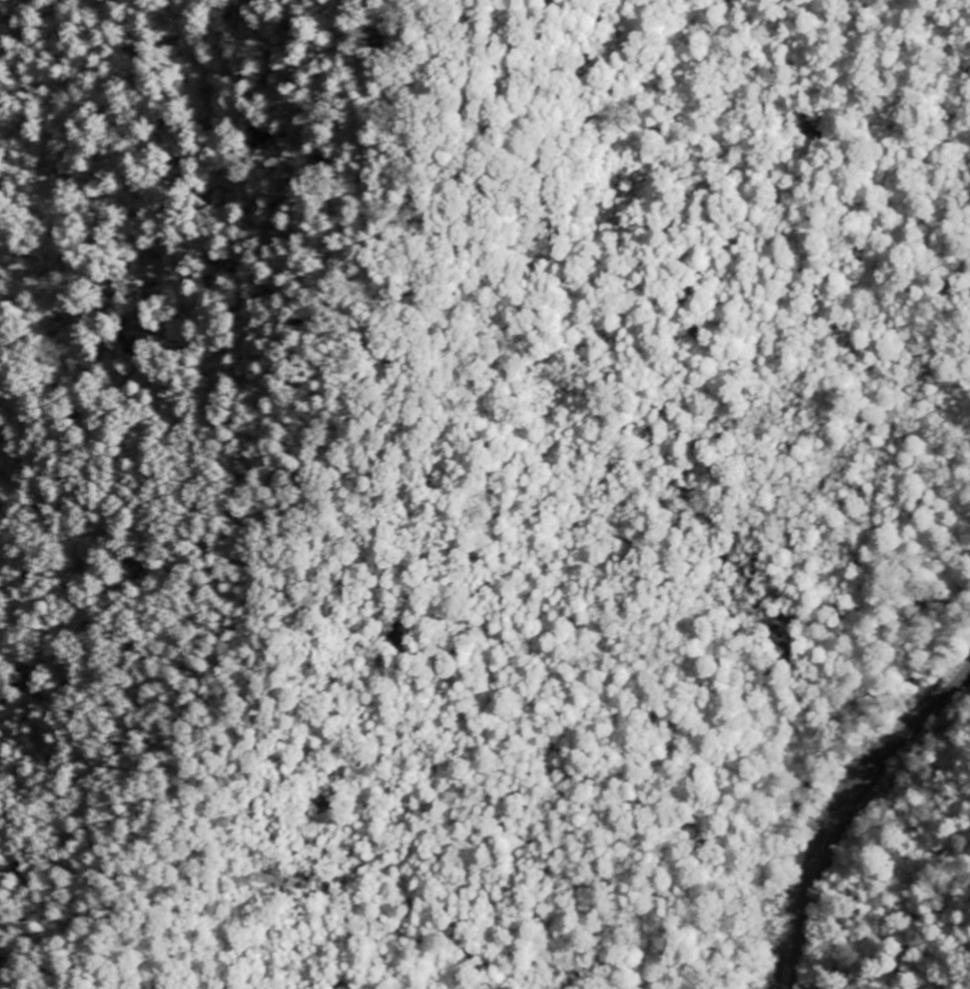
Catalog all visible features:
road: (837, 803)

